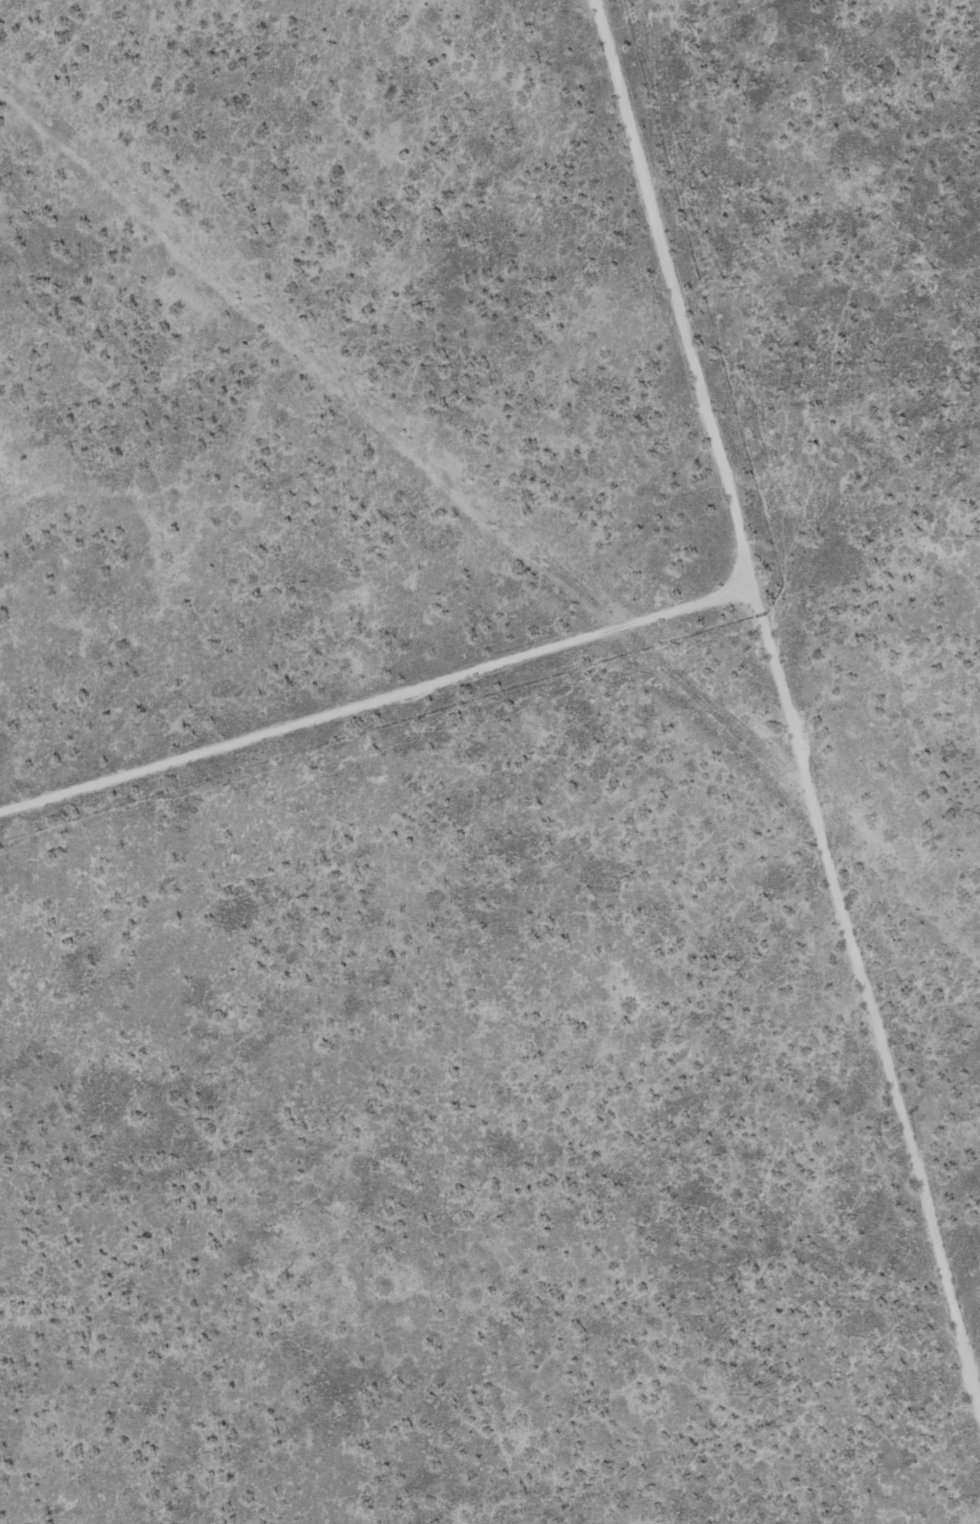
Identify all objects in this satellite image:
road: (377, 697)
road: (788, 710)

